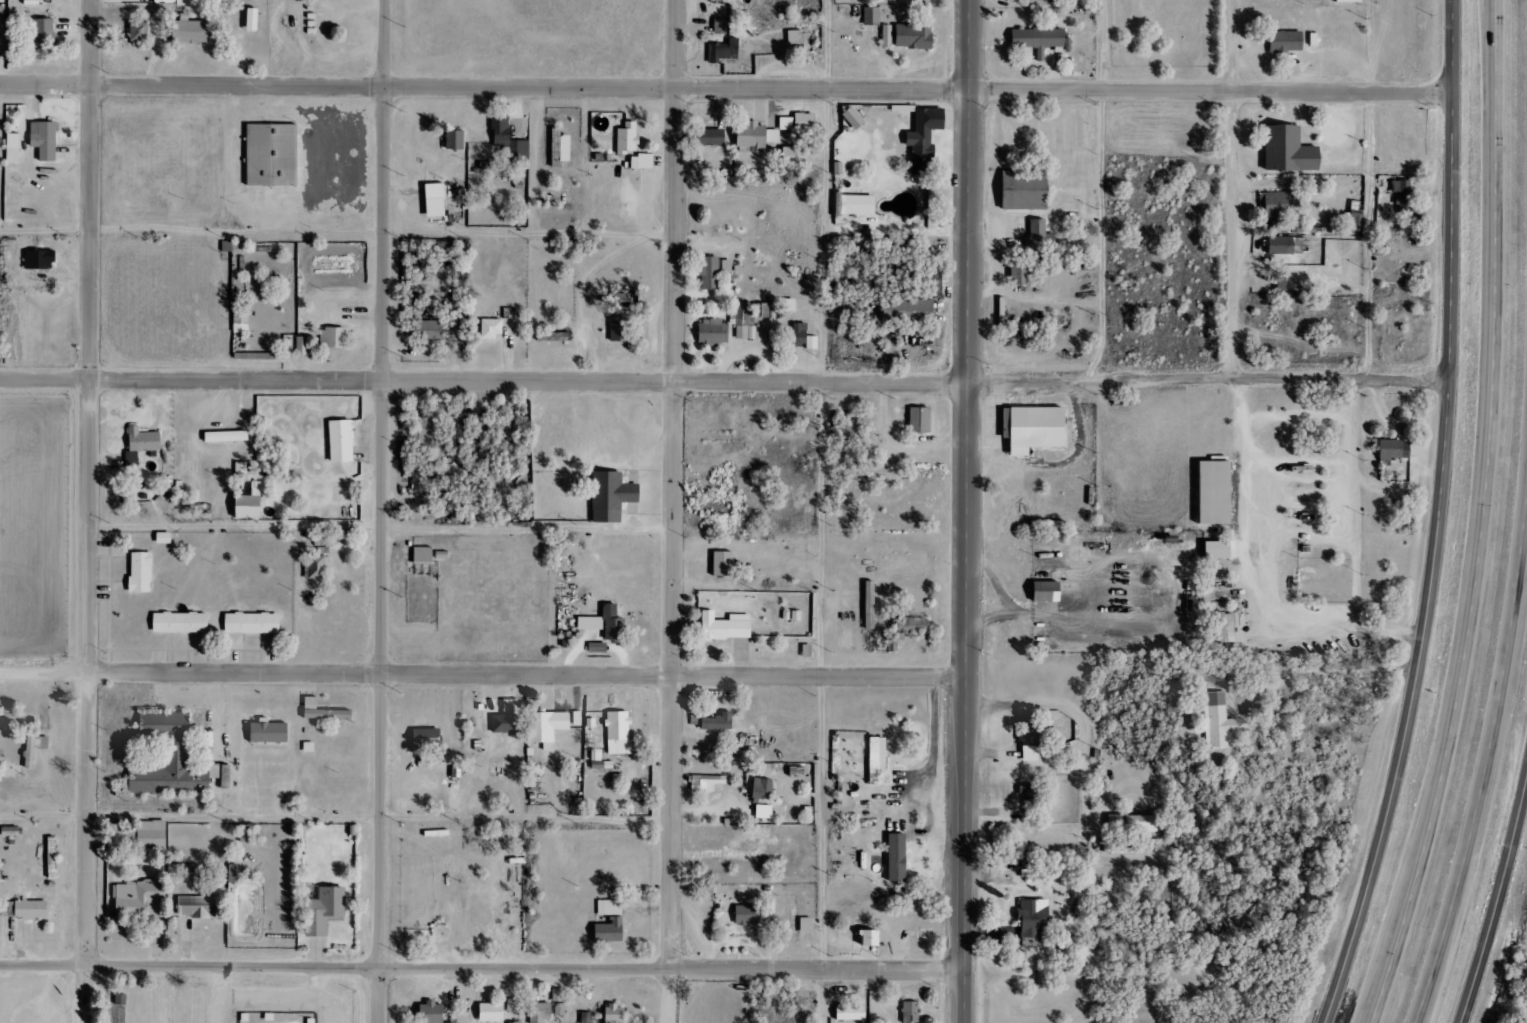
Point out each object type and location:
building: (1015, 0)
building: (1356, 2)
building: (1, 14)
building: (871, 16)
building: (254, 19)
building: (720, 26)
building: (192, 30)
building: (139, 33)
building: (42, 34)
building: (914, 35)
building: (887, 36)
building: (799, 39)
building: (1039, 39)
building: (1294, 44)
building: (723, 50)
road: (726, 89)
road: (827, 115)
building: (855, 118)
building: (805, 121)
building: (786, 123)
building: (708, 136)
building: (756, 136)
building: (628, 138)
building: (925, 138)
building: (45, 140)
building: (456, 140)
building: (508, 140)
building: (561, 147)
building: (13, 148)
building: (1296, 150)
building: (273, 155)
building: (795, 156)
building: (642, 161)
building: (488, 165)
road: (1232, 187)
road: (1378, 188)
building: (1026, 190)
building: (435, 191)
road: (1112, 191)
building: (1401, 195)
building: (1274, 204)
building: (859, 205)
building: (1279, 227)
building: (1039, 235)
building: (1286, 245)
building: (41, 259)
building: (727, 266)
building: (1021, 272)
building: (709, 273)
building: (449, 302)
building: (910, 311)
building: (241, 319)
building: (492, 328)
building: (619, 329)
building: (431, 330)
building: (713, 332)
building: (552, 334)
building: (796, 335)
building: (334, 337)
building: (302, 345)
road: (723, 381)
building: (921, 420)
building: (848, 424)
building: (474, 428)
building: (1036, 428)
building: (497, 430)
building: (227, 436)
building: (342, 441)
building: (142, 444)
building: (414, 446)
building: (1400, 452)
building: (1217, 492)
building: (613, 496)
building: (250, 507)
road: (90, 511)
road: (381, 511)
road: (674, 511)
road: (966, 511)
road: (1437, 518)
road: (1493, 519)
road: (382, 532)
building: (164, 538)
building: (1219, 550)
building: (423, 555)
building: (315, 561)
building: (141, 572)
building: (1049, 591)
building: (181, 622)
building: (253, 623)
building: (913, 625)
building: (727, 627)
building: (1227, 627)
building: (613, 629)
building: (598, 647)
road: (482, 675)
road: (831, 703)
building: (323, 710)
building: (1217, 719)
building: (717, 721)
building: (505, 722)
building: (546, 725)
building: (270, 732)
building: (618, 732)
building: (428, 738)
building: (1029, 739)
building: (309, 746)
building: (34, 747)
building: (878, 754)
building: (172, 758)
building: (798, 771)
building: (226, 776)
building: (706, 782)
building: (760, 788)
building: (1030, 798)
road: (1482, 800)
building: (764, 811)
road: (336, 820)
building: (1133, 823)
building: (246, 834)
building: (145, 835)
building: (1121, 845)
building: (53, 850)
building: (899, 857)
building: (1029, 864)
building: (232, 871)
road: (1496, 897)
building: (138, 899)
building: (908, 902)
building: (199, 906)
building: (32, 909)
building: (324, 909)
building: (747, 914)
building: (1034, 920)
building: (611, 921)
building: (807, 925)
building: (873, 937)
road: (481, 968)
road: (1377, 991)
building: (120, 998)
park: (107, 999)
building: (559, 1000)
building: (1116, 1002)
building: (512, 1005)
building: (493, 1012)
building: (541, 1012)
building: (852, 1012)
building: (910, 1012)
building: (432, 1013)
building: (586, 1017)
building: (253, 1018)

